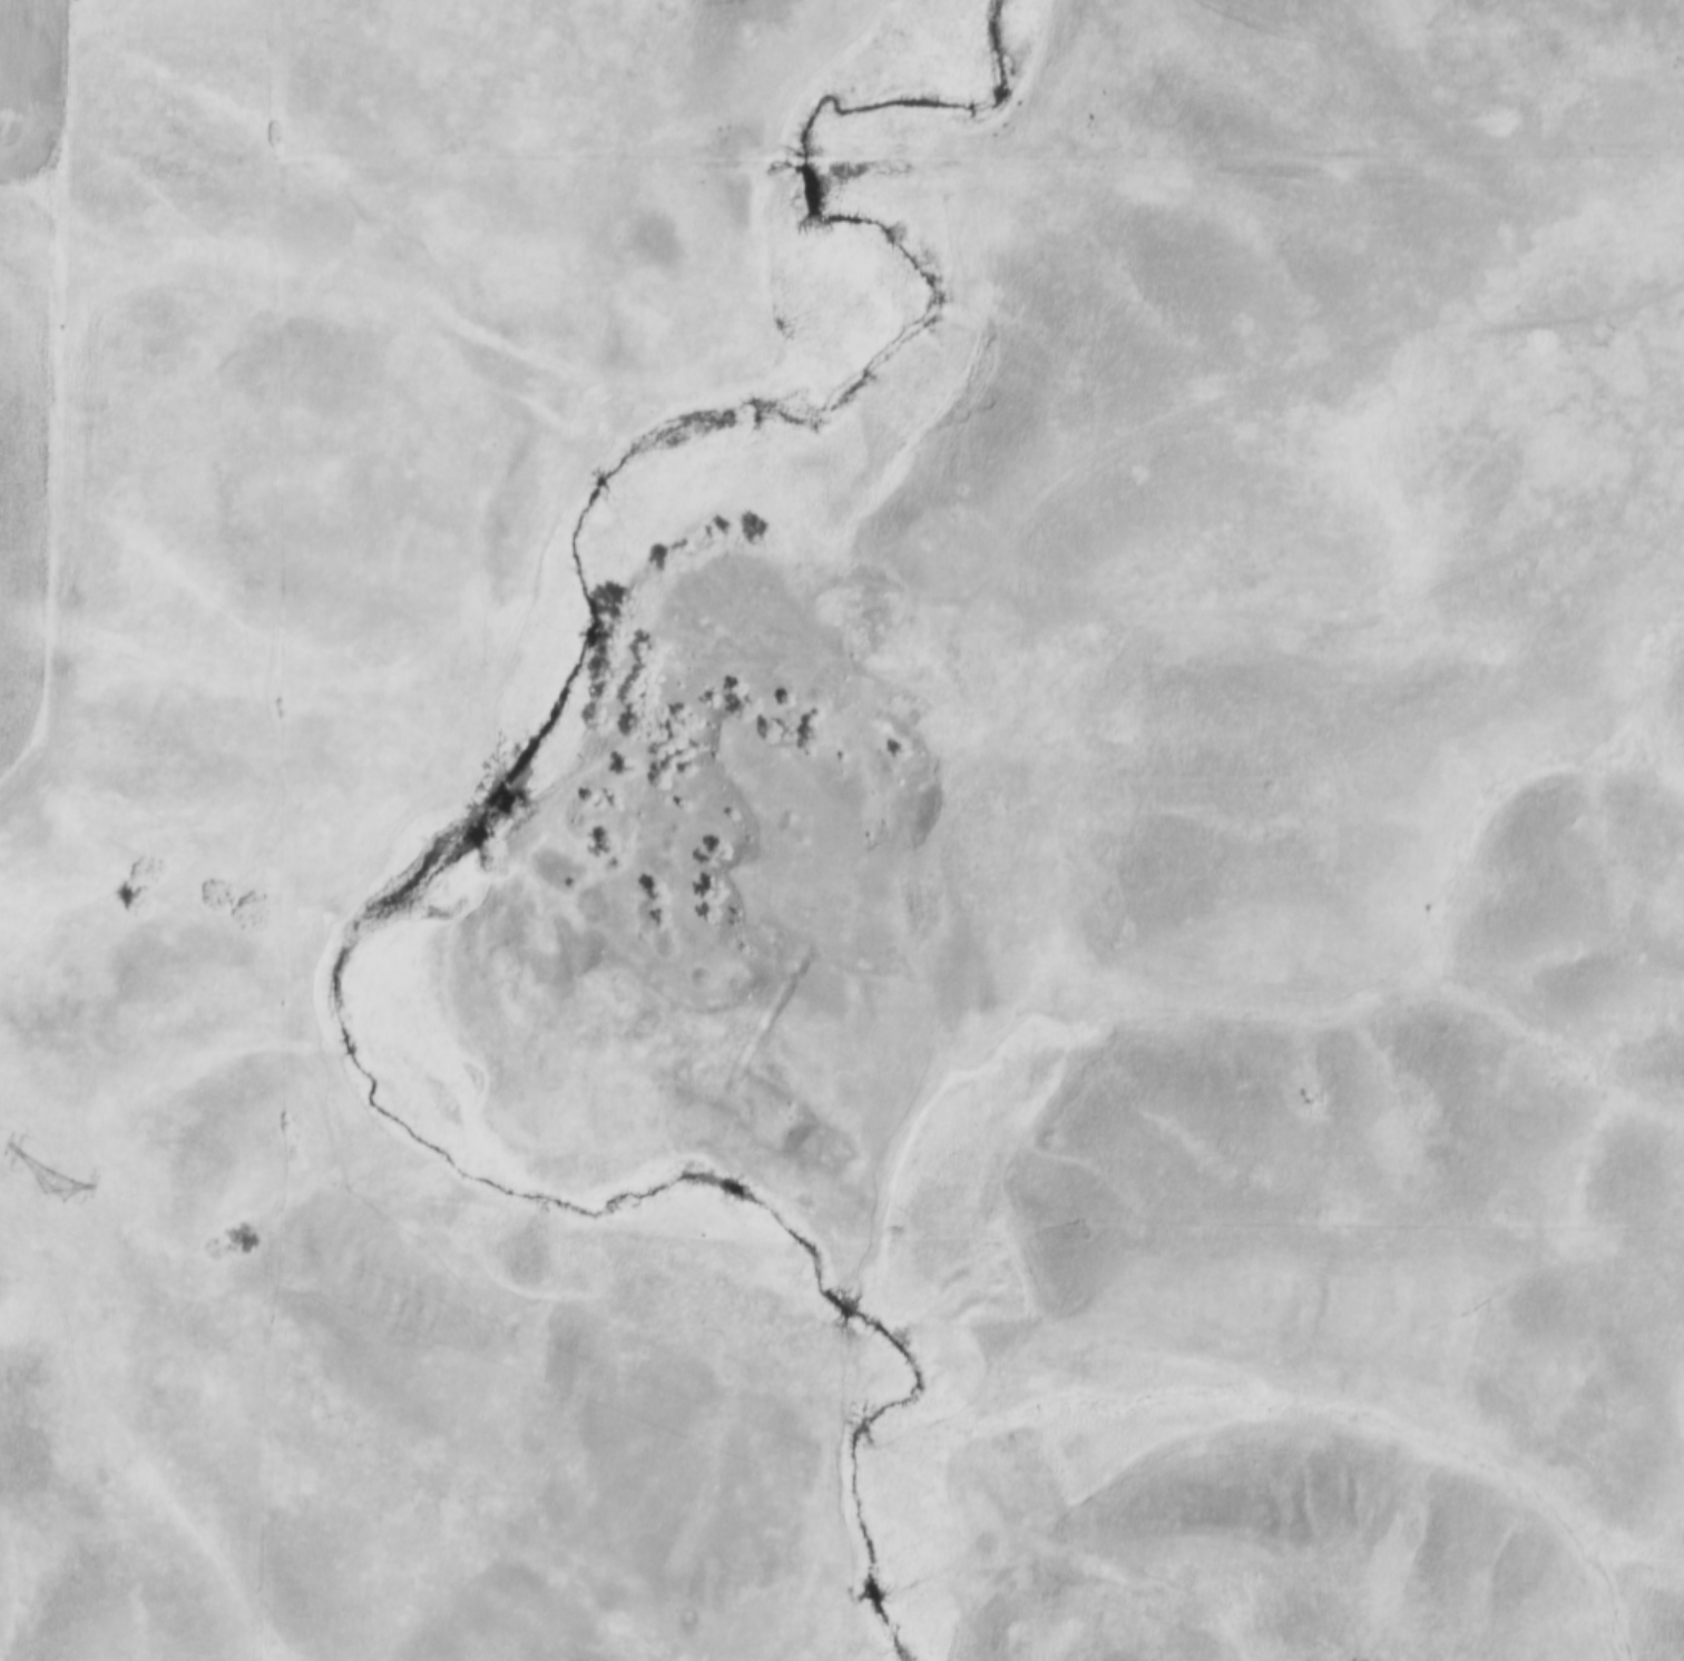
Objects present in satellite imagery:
road: (1262, 167)
road: (806, 168)
road: (386, 170)
road: (1128, 443)
power tower: (61, 1192)

